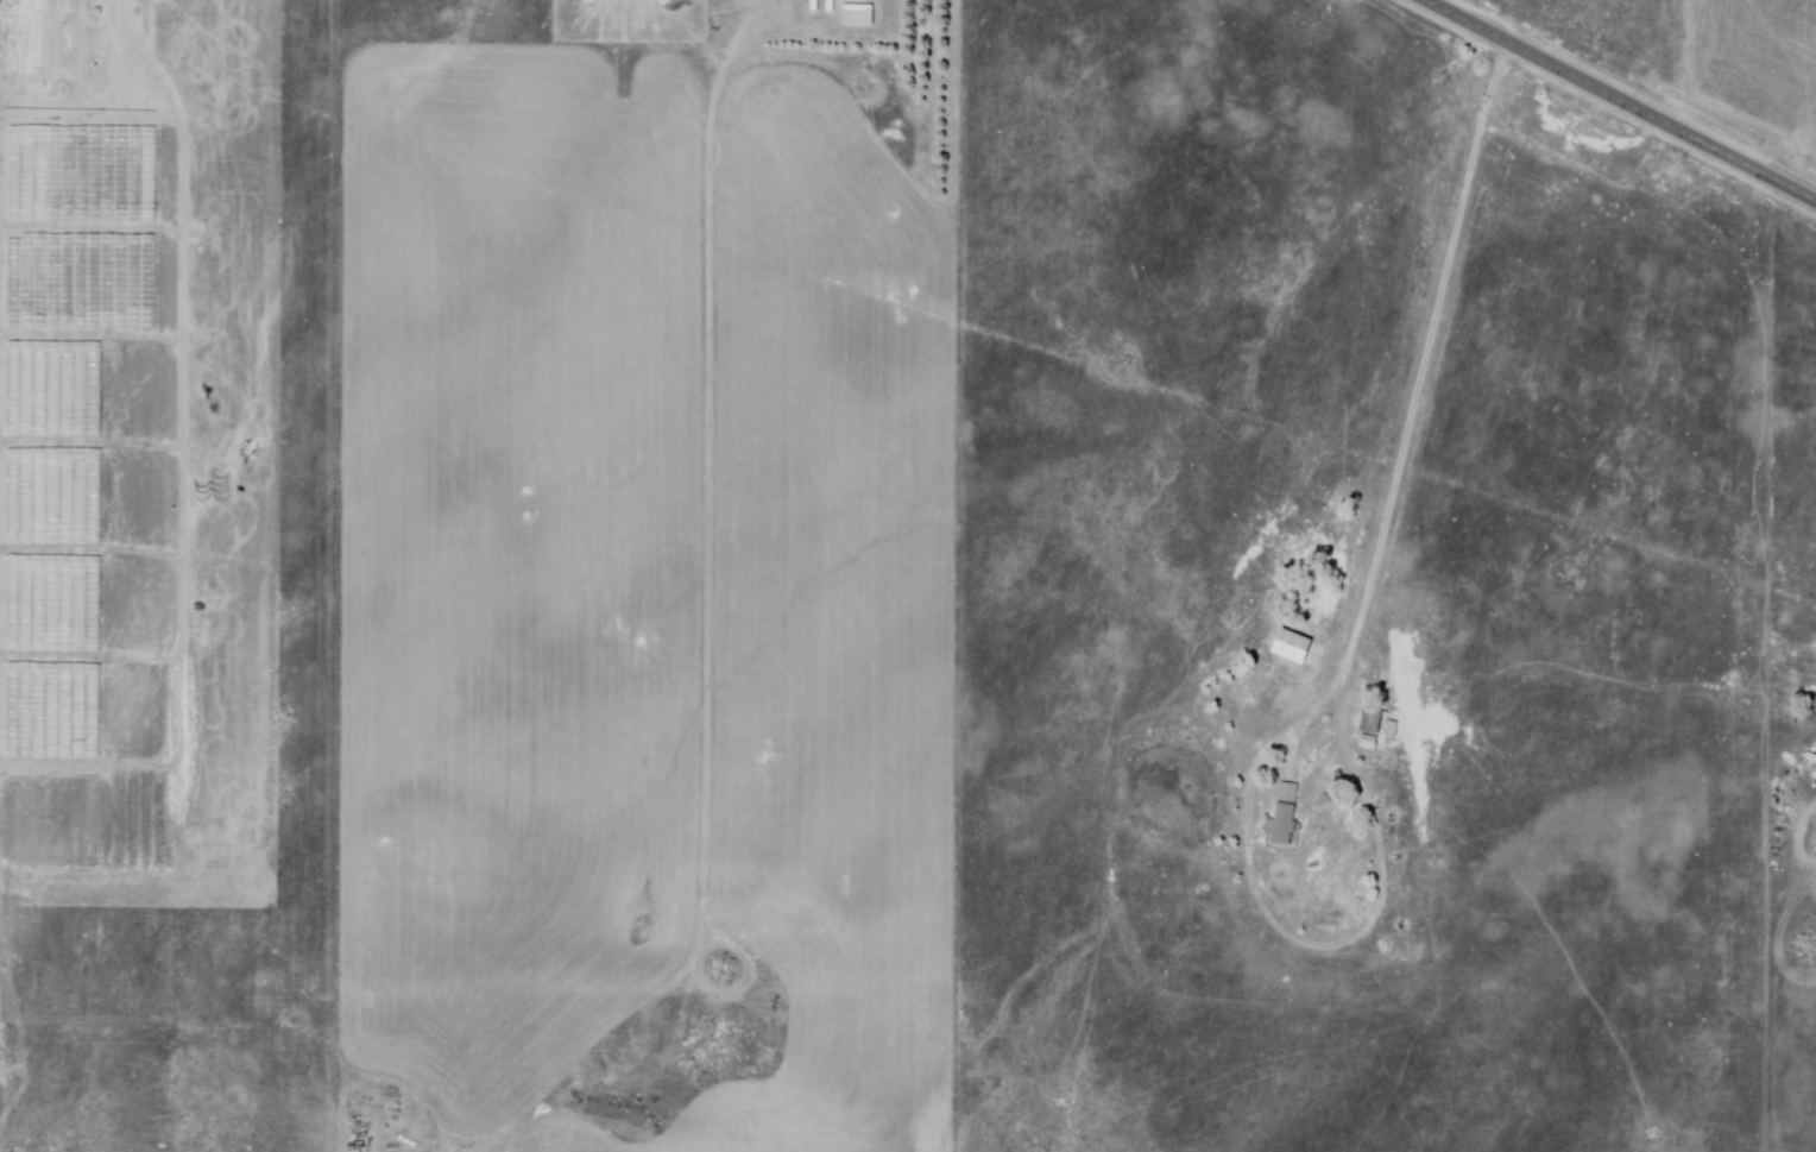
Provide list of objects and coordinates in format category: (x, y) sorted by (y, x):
building: (858, 13)
road: (708, 52)
road: (1620, 100)
road: (1, 145)
road: (1427, 370)
building: (1292, 642)
building: (1373, 719)
building: (1363, 720)
building: (1391, 726)
building: (1369, 741)
building: (1288, 791)
building: (1284, 826)

